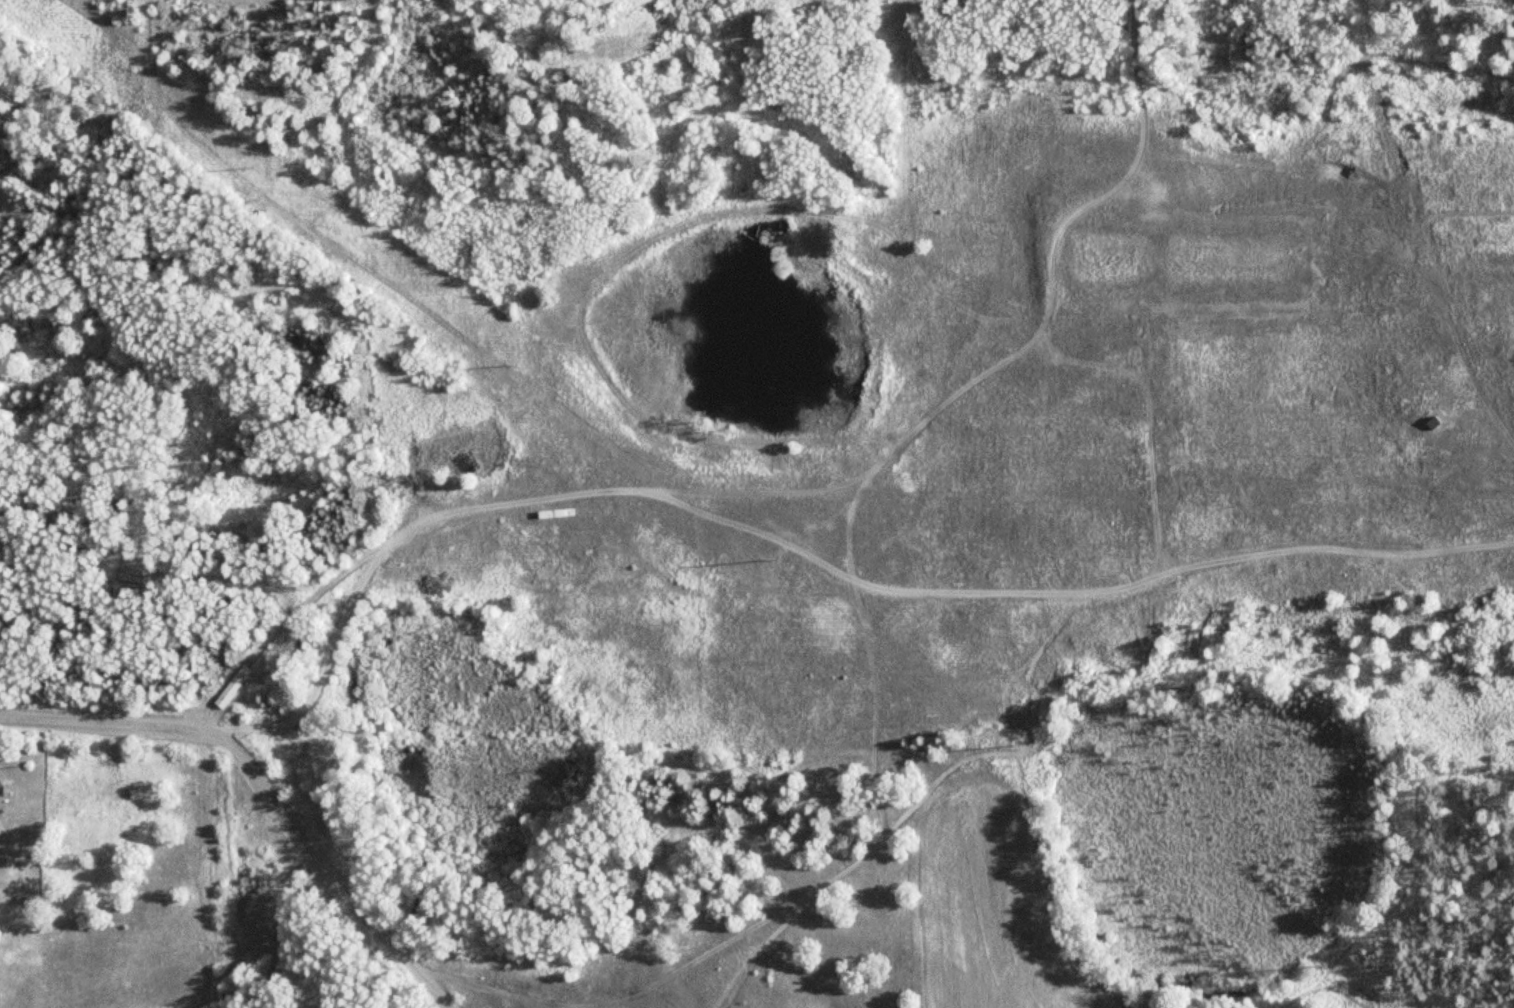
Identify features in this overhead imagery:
road: (1154, 287)
road: (960, 334)
road: (650, 493)
road: (938, 493)
road: (107, 725)
road: (337, 869)

